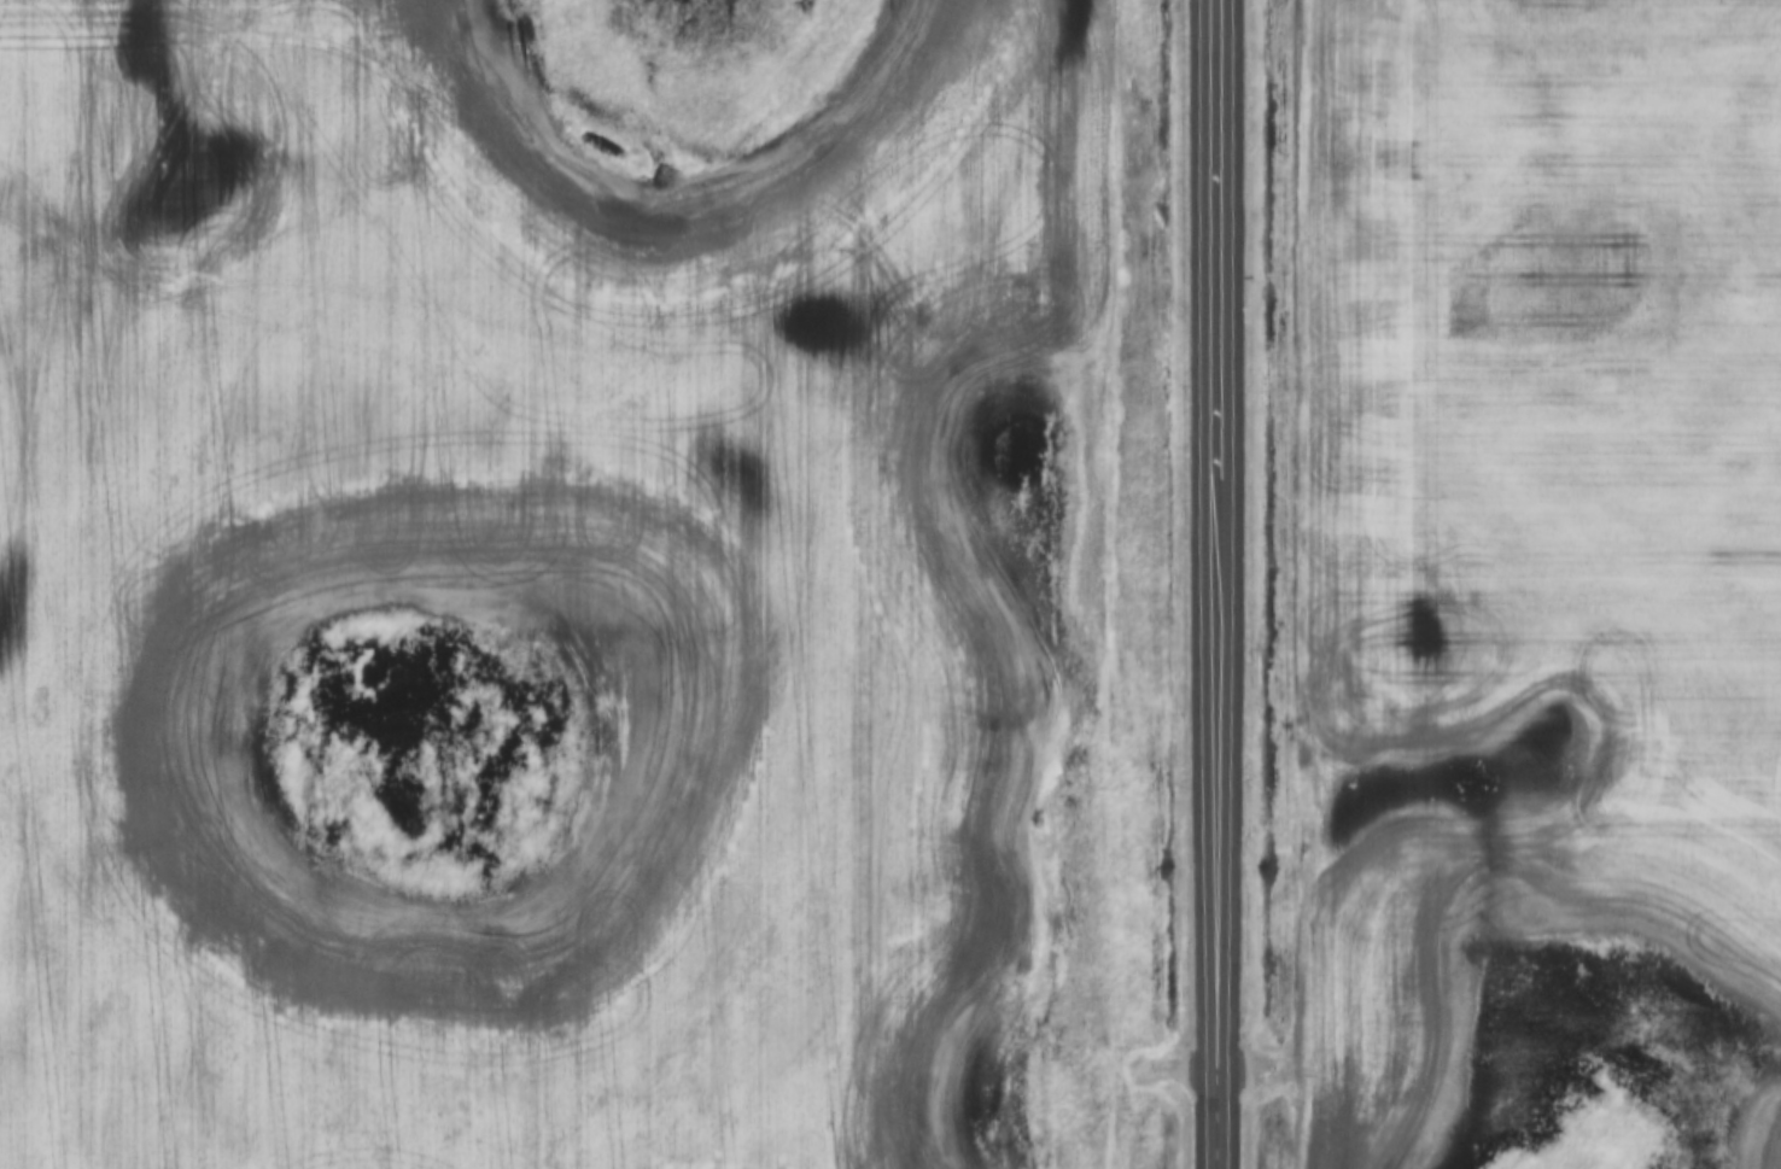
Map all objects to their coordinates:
road: (1217, 584)

